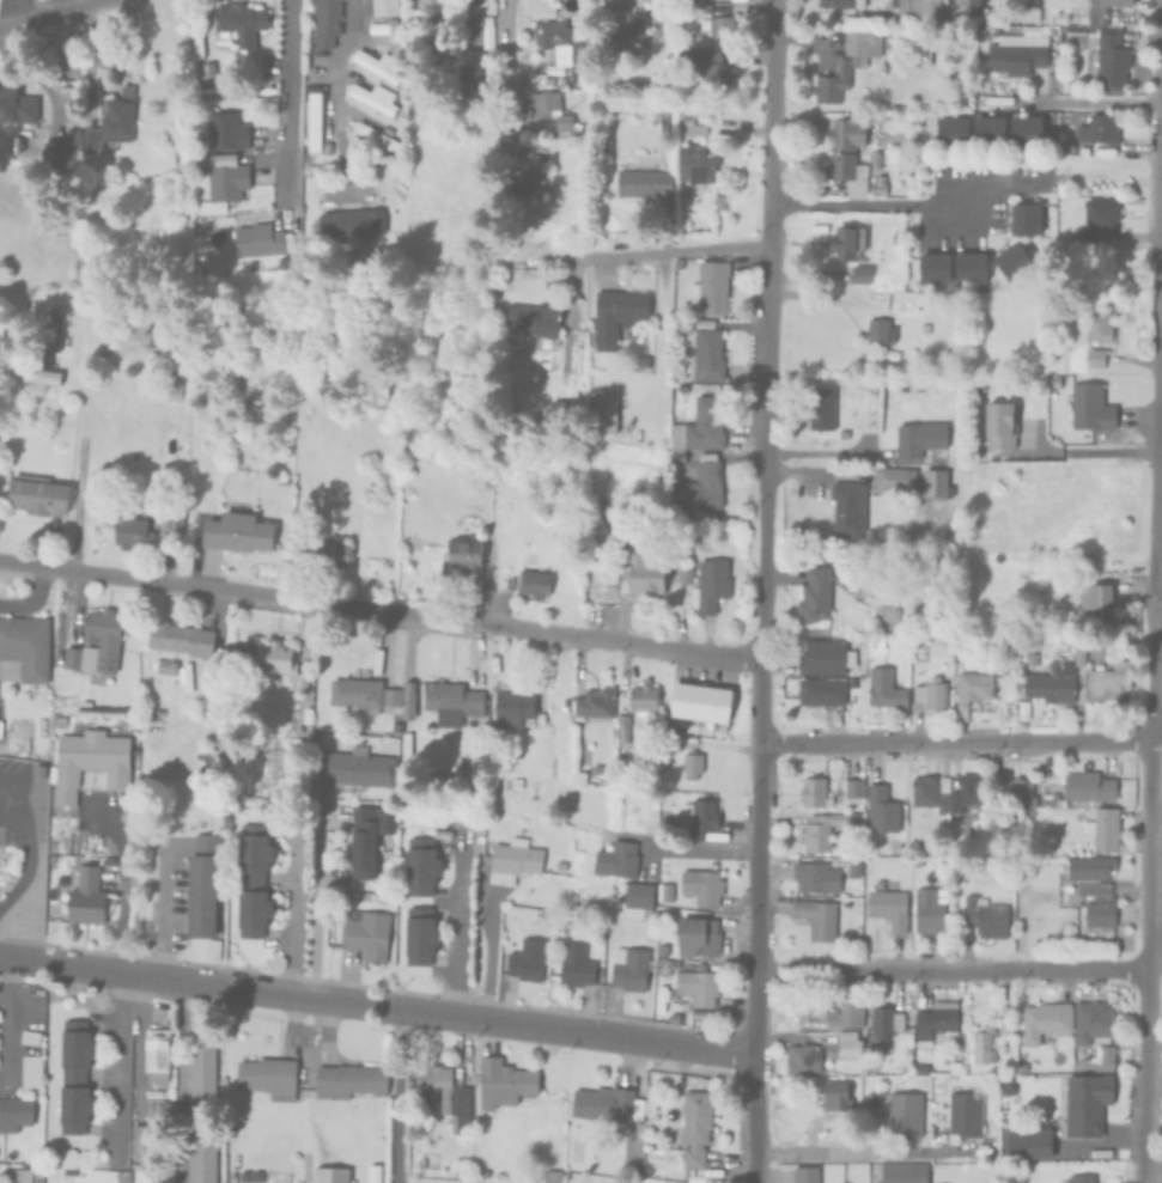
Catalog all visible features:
building: (961, 2)
road: (65, 4)
road: (609, 4)
building: (840, 4)
building: (382, 6)
building: (428, 8)
building: (1102, 10)
building: (902, 11)
building: (929, 11)
road: (47, 13)
road: (506, 20)
building: (238, 22)
building: (323, 22)
building: (653, 24)
building: (712, 24)
building: (376, 28)
building: (472, 29)
building: (1030, 30)
building: (907, 32)
building: (632, 33)
building: (560, 50)
road: (335, 57)
building: (1014, 57)
building: (1107, 60)
building: (846, 63)
building: (377, 66)
building: (700, 67)
building: (205, 68)
building: (537, 78)
building: (651, 80)
road: (1161, 85)
building: (372, 98)
road: (1093, 102)
building: (16, 103)
road: (285, 108)
building: (895, 109)
building: (541, 110)
building: (117, 116)
building: (312, 121)
building: (664, 121)
building: (689, 126)
building: (223, 127)
building: (1099, 129)
building: (992, 130)
building: (1028, 130)
building: (954, 132)
building: (373, 136)
building: (536, 141)
building: (601, 142)
building: (846, 148)
building: (50, 152)
building: (176, 157)
building: (874, 159)
building: (694, 164)
building: (225, 178)
building: (881, 178)
building: (534, 181)
building: (643, 183)
building: (877, 188)
building: (856, 189)
building: (718, 201)
road: (908, 206)
building: (1027, 218)
building: (1096, 218)
building: (351, 221)
building: (898, 238)
building: (257, 239)
building: (846, 240)
road: (675, 248)
building: (1014, 260)
building: (936, 267)
building: (972, 267)
building: (860, 274)
building: (835, 276)
building: (710, 286)
building: (668, 303)
building: (616, 315)
building: (534, 322)
building: (681, 324)
building: (1096, 325)
building: (45, 330)
building: (880, 331)
building: (118, 347)
building: (707, 350)
building: (1093, 358)
building: (41, 374)
building: (1054, 382)
building: (172, 386)
building: (821, 408)
building: (1090, 408)
building: (558, 409)
building: (602, 410)
building: (998, 425)
building: (699, 427)
building: (920, 439)
road: (1101, 451)
building: (676, 457)
building: (894, 480)
building: (933, 484)
building: (597, 486)
building: (700, 486)
building: (35, 494)
building: (846, 508)
building: (0, 513)
building: (165, 519)
building: (302, 530)
building: (130, 532)
building: (236, 532)
building: (331, 554)
building: (464, 554)
building: (646, 572)
building: (687, 575)
building: (535, 585)
building: (714, 586)
road: (761, 591)
road: (1152, 591)
building: (819, 597)
building: (1101, 606)
road: (379, 609)
building: (180, 639)
building: (57, 640)
building: (1067, 641)
building: (95, 647)
building: (23, 648)
building: (827, 659)
building: (279, 661)
building: (1034, 661)
building: (165, 666)
building: (1059, 683)
building: (1111, 683)
building: (886, 690)
building: (825, 693)
building: (973, 693)
building: (357, 694)
building: (390, 696)
building: (932, 696)
building: (452, 699)
building: (407, 700)
building: (646, 701)
building: (704, 703)
building: (84, 706)
building: (597, 706)
building: (515, 708)
building: (1026, 713)
building: (625, 733)
road: (961, 742)
building: (87, 761)
building: (694, 767)
building: (355, 768)
building: (37, 770)
building: (602, 776)
building: (857, 789)
building: (1045, 792)
building: (1085, 793)
building: (819, 795)
building: (932, 797)
building: (1023, 797)
building: (972, 798)
building: (884, 812)
building: (704, 821)
building: (826, 833)
building: (1107, 833)
building: (366, 837)
road: (25, 839)
road: (702, 847)
building: (619, 861)
building: (516, 862)
building: (420, 866)
building: (856, 872)
building: (819, 879)
building: (253, 880)
building: (201, 885)
building: (705, 888)
road: (120, 889)
building: (1097, 889)
building: (669, 894)
building: (85, 896)
building: (385, 897)
building: (641, 898)
road: (317, 903)
building: (890, 909)
building: (931, 914)
road: (159, 916)
building: (987, 919)
building: (820, 921)
road: (456, 926)
building: (365, 933)
building: (420, 935)
building: (699, 938)
building: (529, 962)
building: (577, 968)
road: (957, 970)
building: (632, 971)
building: (699, 989)
road: (375, 1008)
building: (833, 1010)
building: (889, 1022)
building: (937, 1024)
building: (1048, 1024)
building: (1097, 1025)
building: (851, 1045)
road: (181, 1047)
building: (986, 1048)
building: (156, 1054)
road: (116, 1059)
building: (805, 1061)
building: (1101, 1061)
building: (959, 1065)
building: (30, 1071)
building: (201, 1072)
building: (73, 1075)
building: (267, 1077)
building: (348, 1080)
building: (505, 1085)
road: (396, 1097)
building: (839, 1098)
building: (1020, 1098)
building: (1090, 1105)
building: (609, 1106)
building: (14, 1112)
building: (968, 1116)
building: (908, 1117)
building: (698, 1130)
building: (140, 1140)
building: (1032, 1145)
road: (859, 1154)
building: (201, 1159)
building: (907, 1173)
building: (23, 1175)
building: (329, 1175)
building: (808, 1176)
building: (554, 1177)
building: (1084, 1179)

